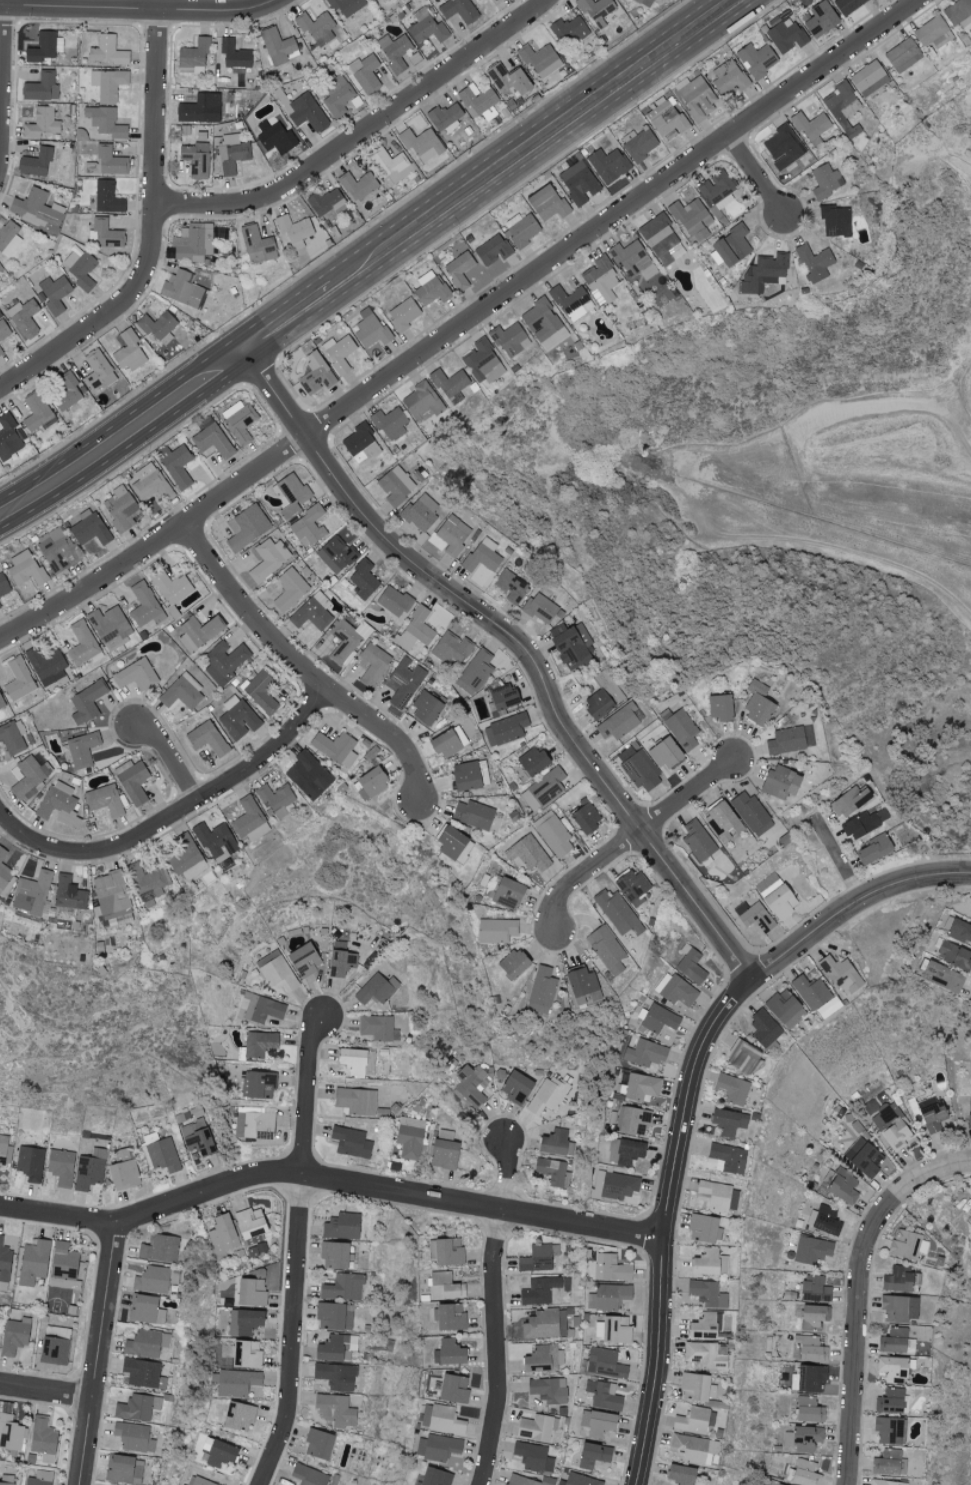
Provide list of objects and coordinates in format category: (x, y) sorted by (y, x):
building: (384, 0)
building: (477, 0)
road: (3, 3)
building: (643, 3)
building: (847, 5)
building: (345, 6)
road: (139, 10)
building: (458, 10)
building: (596, 11)
building: (958, 13)
building: (819, 19)
building: (426, 27)
building: (316, 28)
building: (568, 30)
building: (932, 32)
building: (785, 35)
building: (278, 46)
building: (43, 47)
building: (106, 51)
building: (394, 51)
building: (902, 55)
building: (193, 56)
building: (234, 56)
building: (756, 59)
building: (539, 60)
road: (1, 65)
building: (365, 74)
building: (728, 78)
building: (868, 78)
building: (507, 79)
building: (108, 84)
building: (41, 87)
building: (336, 93)
building: (696, 98)
building: (476, 100)
building: (842, 102)
building: (199, 109)
building: (307, 112)
building: (443, 116)
building: (665, 118)
building: (104, 121)
building: (40, 123)
building: (810, 127)
road: (358, 132)
building: (274, 136)
building: (638, 143)
building: (421, 144)
road: (537, 145)
building: (782, 148)
building: (231, 153)
building: (195, 159)
building: (109, 161)
building: (35, 162)
building: (388, 163)
building: (608, 165)
road: (755, 174)
building: (824, 181)
building: (578, 182)
building: (357, 185)
building: (716, 190)
building: (106, 197)
building: (326, 201)
building: (546, 203)
building: (35, 208)
building: (692, 220)
building: (834, 221)
road: (152, 229)
building: (520, 229)
building: (292, 230)
building: (8, 237)
building: (316, 237)
building: (658, 238)
building: (256, 244)
building: (731, 246)
building: (492, 249)
building: (632, 261)
building: (813, 263)
building: (0, 268)
building: (80, 268)
building: (458, 269)
building: (600, 280)
building: (182, 288)
building: (53, 292)
building: (571, 301)
building: (403, 313)
building: (23, 317)
building: (539, 319)
road: (288, 323)
building: (156, 324)
road: (461, 324)
building: (370, 328)
building: (3, 329)
building: (509, 338)
building: (554, 339)
building: (0, 351)
building: (129, 351)
building: (338, 352)
building: (481, 361)
building: (96, 367)
building: (315, 373)
building: (449, 384)
building: (66, 390)
building: (420, 401)
building: (36, 412)
building: (238, 420)
building: (389, 421)
building: (9, 435)
road: (123, 439)
building: (212, 440)
building: (360, 444)
building: (176, 464)
building: (395, 485)
building: (151, 486)
building: (290, 494)
building: (119, 507)
building: (420, 511)
building: (246, 526)
building: (307, 526)
building: (89, 529)
building: (451, 535)
building: (56, 549)
building: (335, 554)
building: (482, 555)
building: (268, 558)
building: (26, 569)
building: (362, 579)
road: (465, 584)
building: (3, 585)
building: (510, 585)
building: (170, 586)
building: (289, 589)
building: (393, 601)
building: (143, 604)
building: (0, 607)
building: (538, 607)
building: (312, 611)
building: (109, 627)
building: (415, 629)
building: (197, 631)
building: (346, 640)
building: (82, 644)
building: (572, 646)
building: (451, 647)
road: (517, 648)
building: (224, 660)
building: (372, 663)
building: (46, 665)
road: (301, 669)
building: (474, 671)
building: (135, 674)
building: (18, 679)
building: (404, 681)
building: (260, 691)
building: (181, 692)
building: (501, 698)
building: (86, 702)
building: (596, 703)
building: (1, 704)
building: (757, 704)
building: (719, 706)
building: (424, 708)
building: (237, 717)
building: (620, 721)
building: (504, 729)
building: (681, 729)
building: (12, 736)
building: (205, 737)
building: (789, 739)
building: (444, 743)
building: (334, 747)
building: (81, 748)
building: (665, 753)
building: (532, 760)
road: (171, 761)
building: (638, 767)
building: (30, 775)
building: (308, 775)
building: (464, 775)
building: (132, 780)
building: (779, 781)
building: (370, 782)
building: (543, 789)
building: (104, 799)
building: (275, 799)
building: (849, 800)
building: (58, 803)
building: (750, 812)
road: (170, 814)
building: (472, 814)
building: (246, 816)
building: (585, 817)
building: (719, 820)
building: (864, 822)
building: (553, 834)
road: (630, 836)
building: (697, 840)
building: (215, 841)
building: (449, 841)
building: (873, 848)
building: (463, 851)
building: (2, 853)
building: (530, 853)
building: (185, 857)
road: (838, 860)
building: (4, 875)
building: (146, 885)
building: (30, 892)
building: (506, 892)
building: (68, 893)
building: (110, 893)
building: (779, 901)
building: (617, 913)
building: (753, 915)
building: (496, 930)
building: (959, 931)
building: (606, 948)
building: (953, 954)
building: (340, 959)
building: (303, 960)
building: (512, 963)
building: (690, 964)
building: (276, 971)
building: (840, 974)
building: (942, 976)
building: (581, 984)
building: (375, 989)
building: (541, 990)
building: (810, 991)
building: (260, 1008)
building: (784, 1008)
building: (658, 1018)
building: (377, 1027)
building: (763, 1027)
building: (258, 1042)
building: (644, 1053)
building: (741, 1056)
building: (357, 1061)
building: (258, 1084)
building: (469, 1084)
building: (515, 1086)
building: (641, 1086)
building: (732, 1088)
building: (547, 1095)
road: (689, 1098)
building: (355, 1100)
building: (969, 1110)
building: (931, 1114)
building: (633, 1121)
building: (727, 1121)
building: (253, 1125)
building: (891, 1126)
building: (196, 1137)
building: (410, 1137)
building: (350, 1141)
building: (552, 1142)
building: (625, 1151)
building: (120, 1153)
building: (161, 1153)
building: (2, 1154)
building: (443, 1154)
building: (864, 1157)
building: (726, 1158)
building: (29, 1162)
building: (60, 1166)
building: (89, 1169)
road: (911, 1169)
building: (553, 1172)
building: (123, 1174)
road: (331, 1179)
building: (615, 1184)
building: (840, 1185)
building: (717, 1196)
building: (970, 1214)
building: (825, 1220)
building: (341, 1226)
building: (704, 1228)
building: (250, 1231)
building: (222, 1236)
building: (906, 1245)
building: (158, 1248)
building: (811, 1249)
road: (297, 1250)
building: (445, 1251)
building: (333, 1255)
building: (537, 1258)
building: (33, 1260)
building: (708, 1263)
building: (4, 1265)
building: (62, 1266)
building: (610, 1268)
building: (151, 1279)
building: (896, 1279)
building: (444, 1286)
building: (342, 1287)
building: (251, 1288)
building: (813, 1288)
building: (540, 1289)
building: (706, 1293)
building: (610, 1296)
building: (897, 1308)
building: (145, 1309)
road: (498, 1314)
building: (449, 1316)
building: (812, 1316)
building: (332, 1317)
building: (245, 1320)
building: (545, 1323)
building: (702, 1326)
building: (613, 1329)
building: (13, 1335)
building: (892, 1340)
building: (142, 1343)
building: (336, 1347)
building: (810, 1349)
building: (53, 1350)
building: (449, 1351)
road: (859, 1352)
building: (245, 1354)
road: (99, 1355)
building: (704, 1355)
building: (542, 1358)
building: (604, 1363)
building: (891, 1369)
building: (142, 1373)
building: (335, 1376)
building: (811, 1378)
building: (236, 1382)
building: (694, 1386)
building: (452, 1388)
building: (548, 1389)
road: (47, 1392)
building: (602, 1395)
building: (889, 1401)
building: (136, 1407)
building: (334, 1410)
building: (807, 1410)
building: (238, 1416)
building: (440, 1419)
building: (693, 1420)
building: (596, 1422)
building: (534, 1427)
building: (887, 1430)
building: (10, 1433)
building: (132, 1437)
building: (801, 1438)
building: (42, 1439)
building: (317, 1444)
building: (436, 1447)
building: (692, 1448)
building: (217, 1452)
building: (592, 1455)
building: (532, 1456)
building: (888, 1463)
building: (124, 1469)
building: (804, 1473)
building: (679, 1474)
building: (308, 1475)
building: (434, 1477)
building: (39, 1478)
building: (6, 1480)
building: (520, 1480)
building: (579, 1480)
building: (198, 1481)
building: (883, 1482)
building: (182, 1484)
building: (776, 1484)

